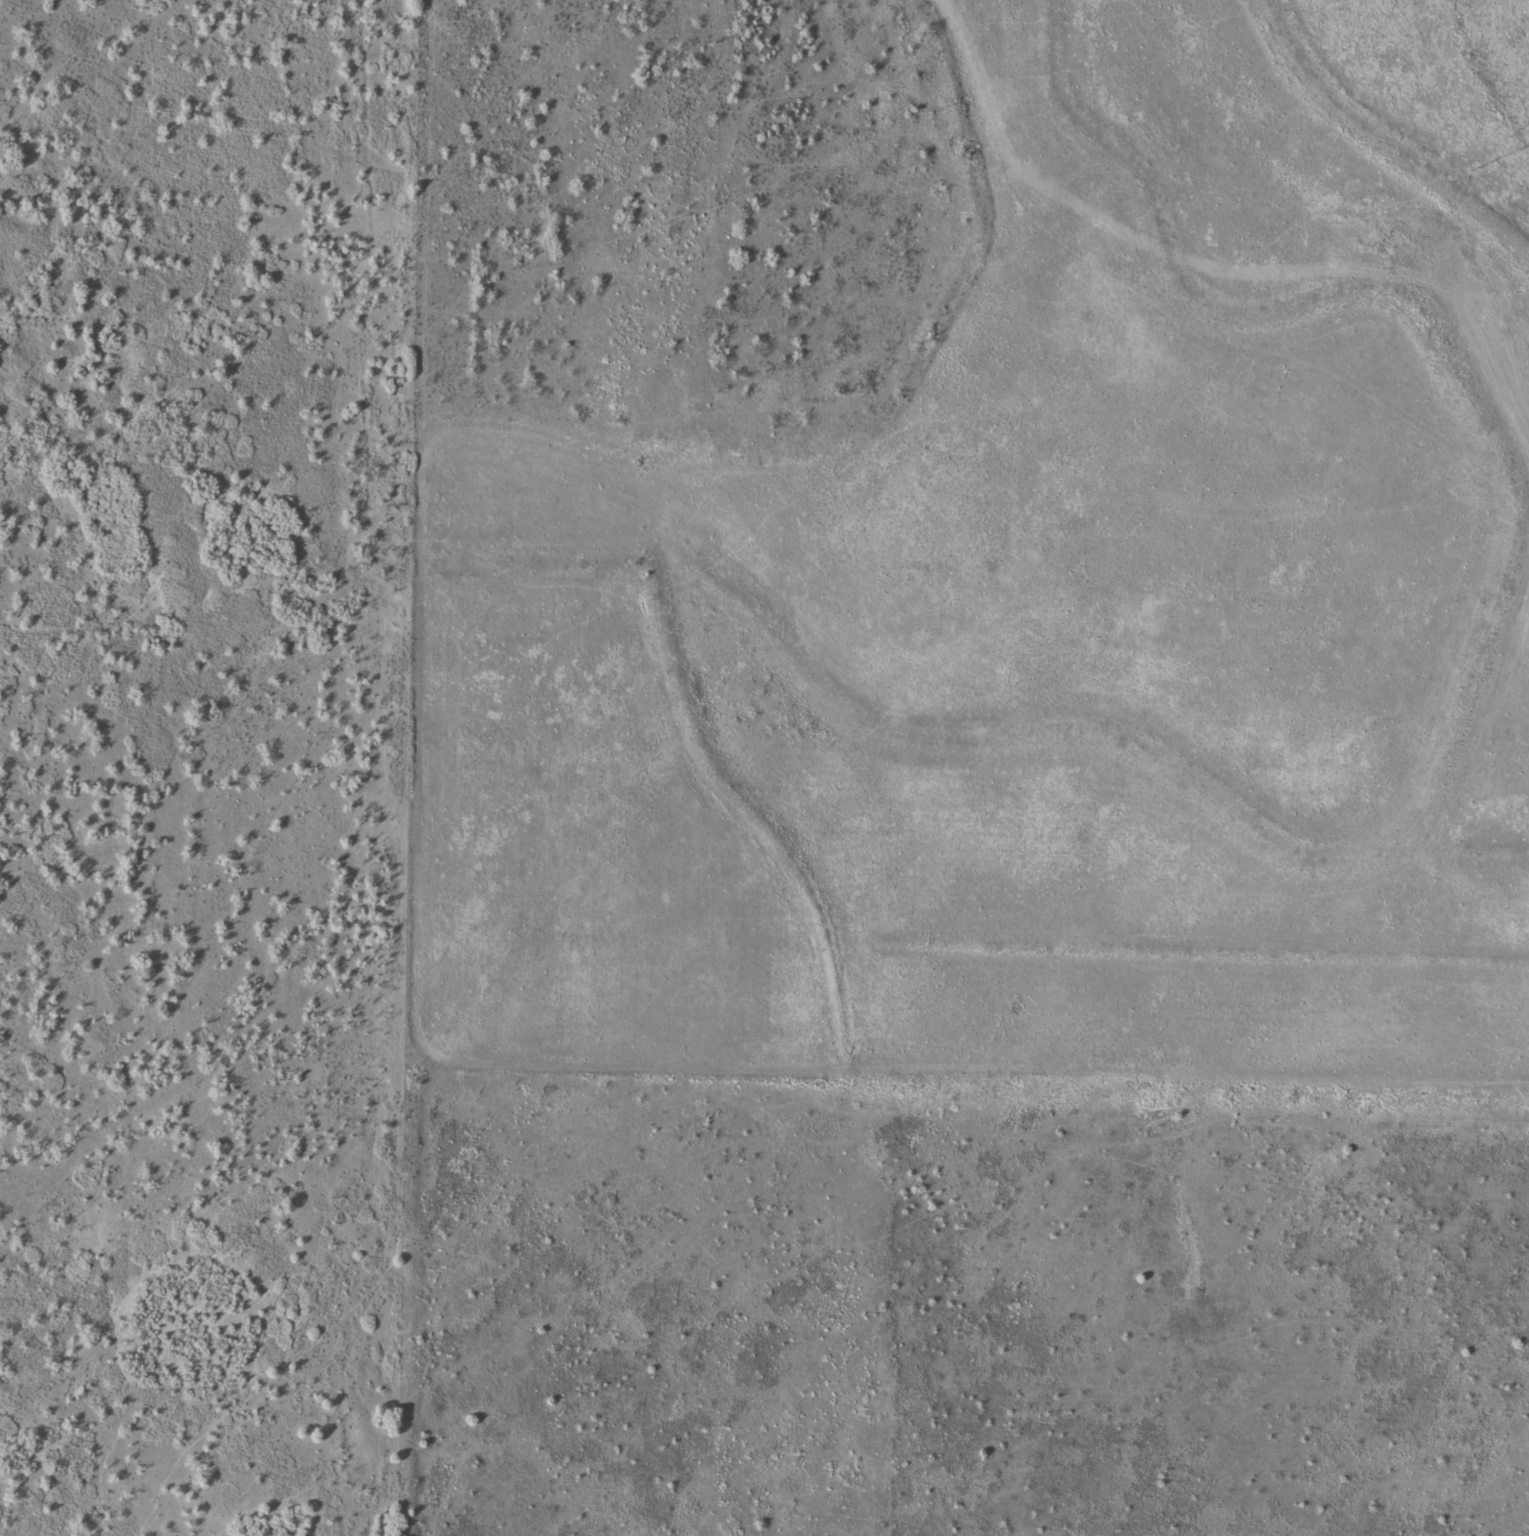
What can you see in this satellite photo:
power tower: (1478, 169)
road: (1528, 257)

